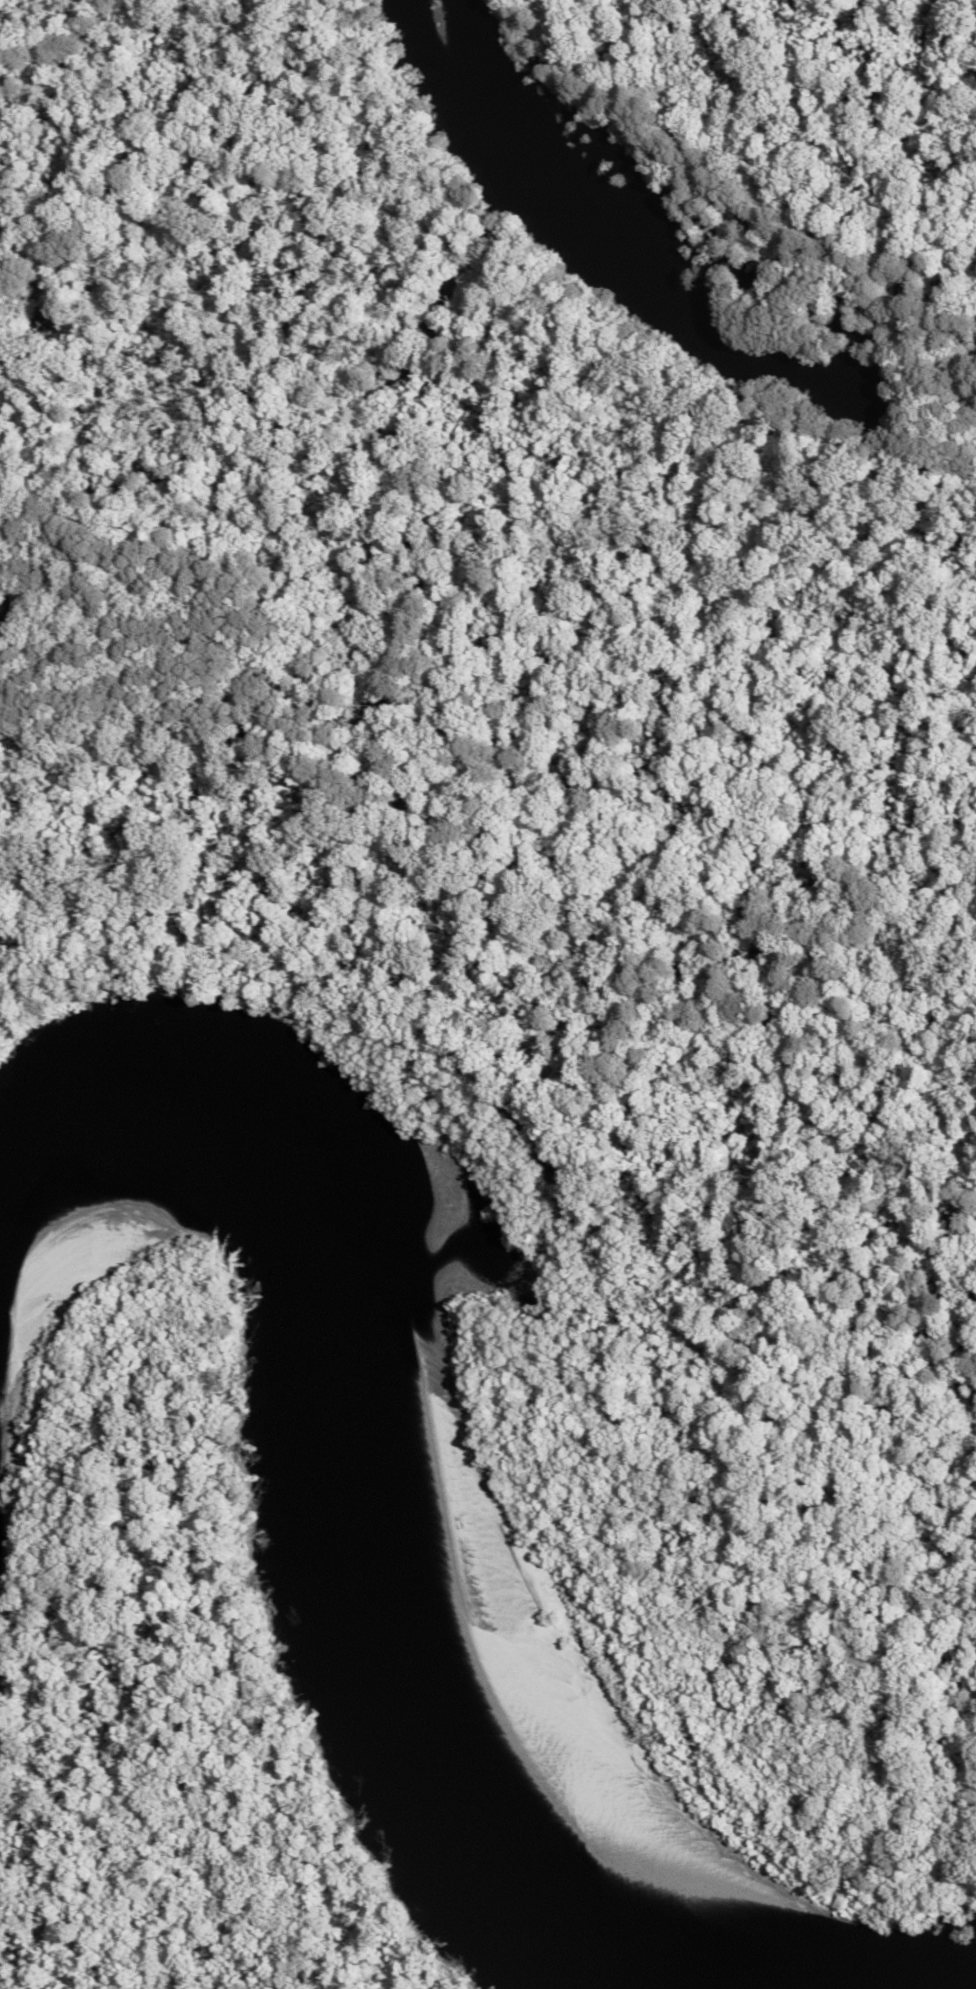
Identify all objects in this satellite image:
river: (428, 1424)

